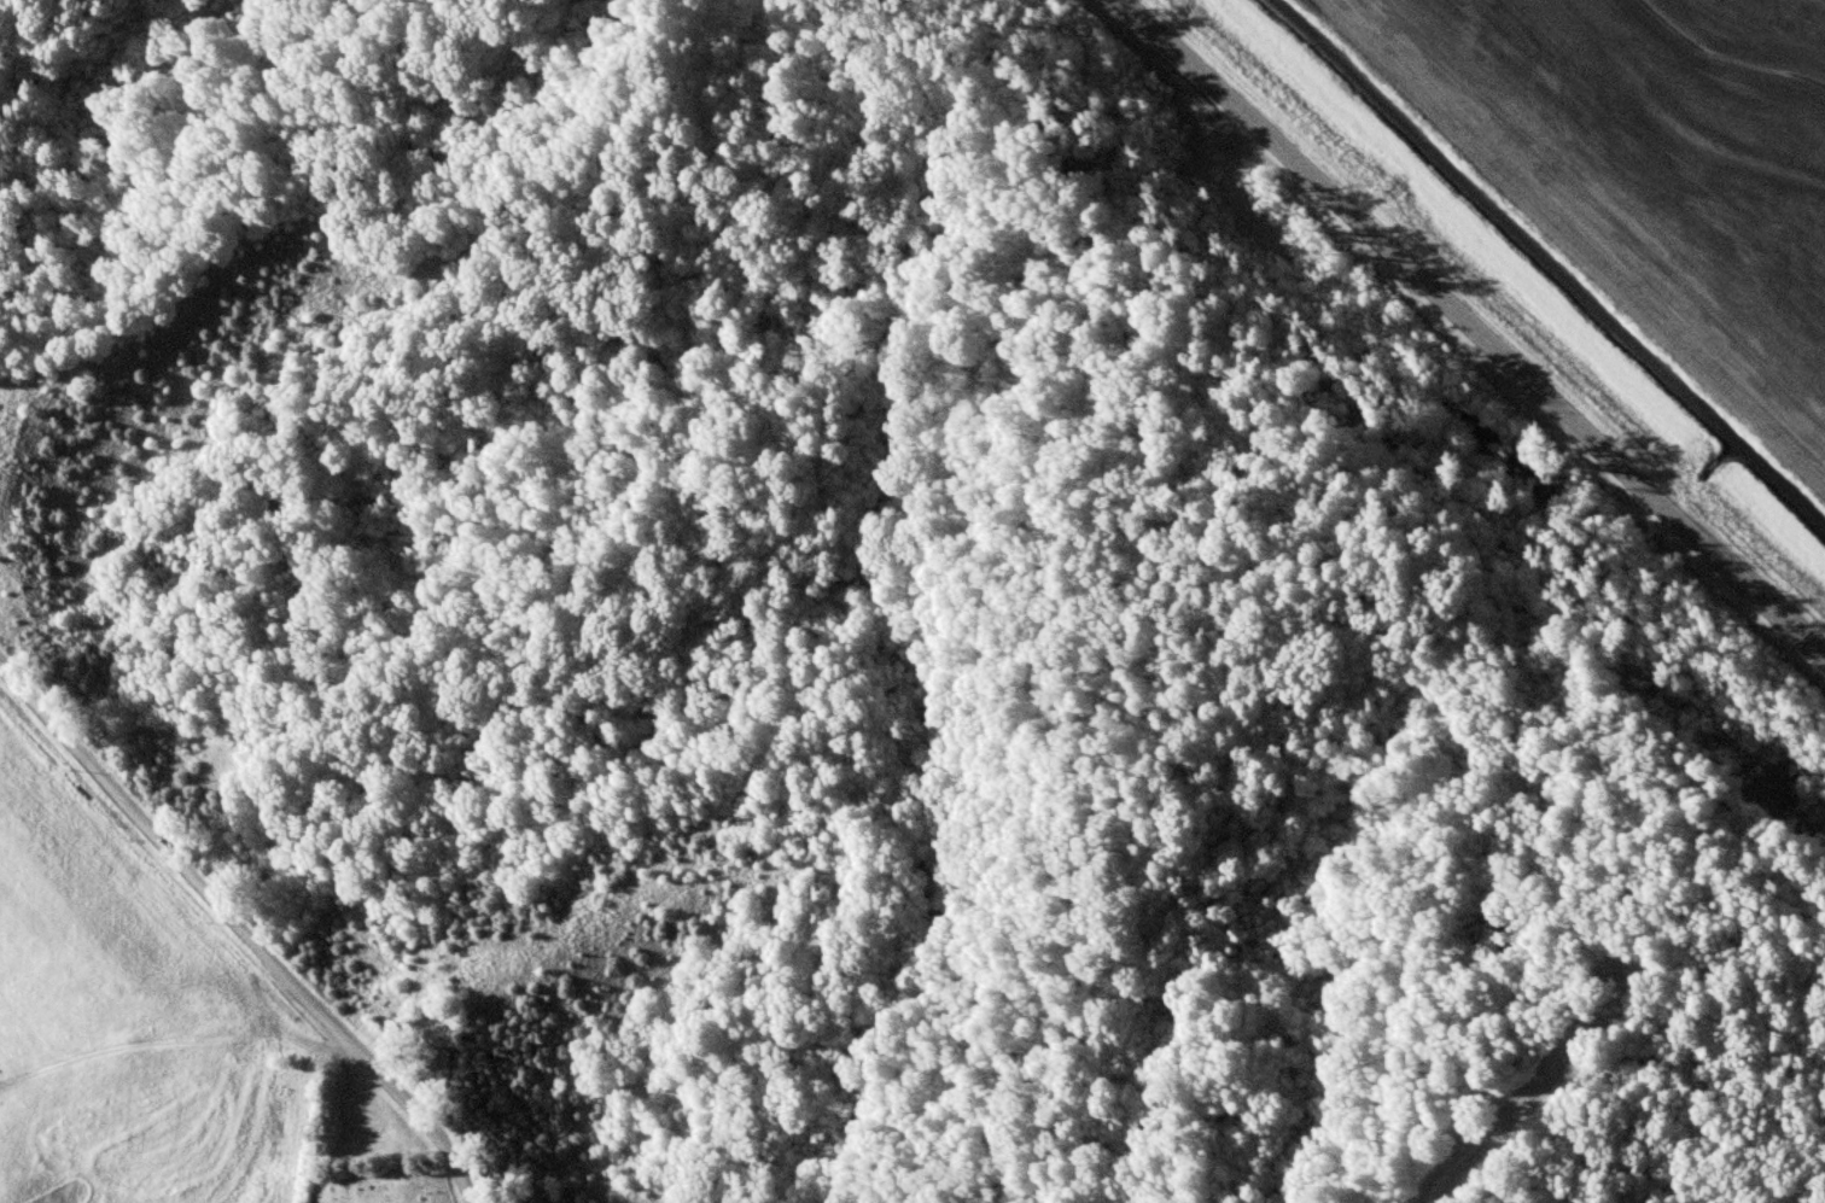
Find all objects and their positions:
road: (1474, 332)
road: (244, 928)
park: (386, 1186)

